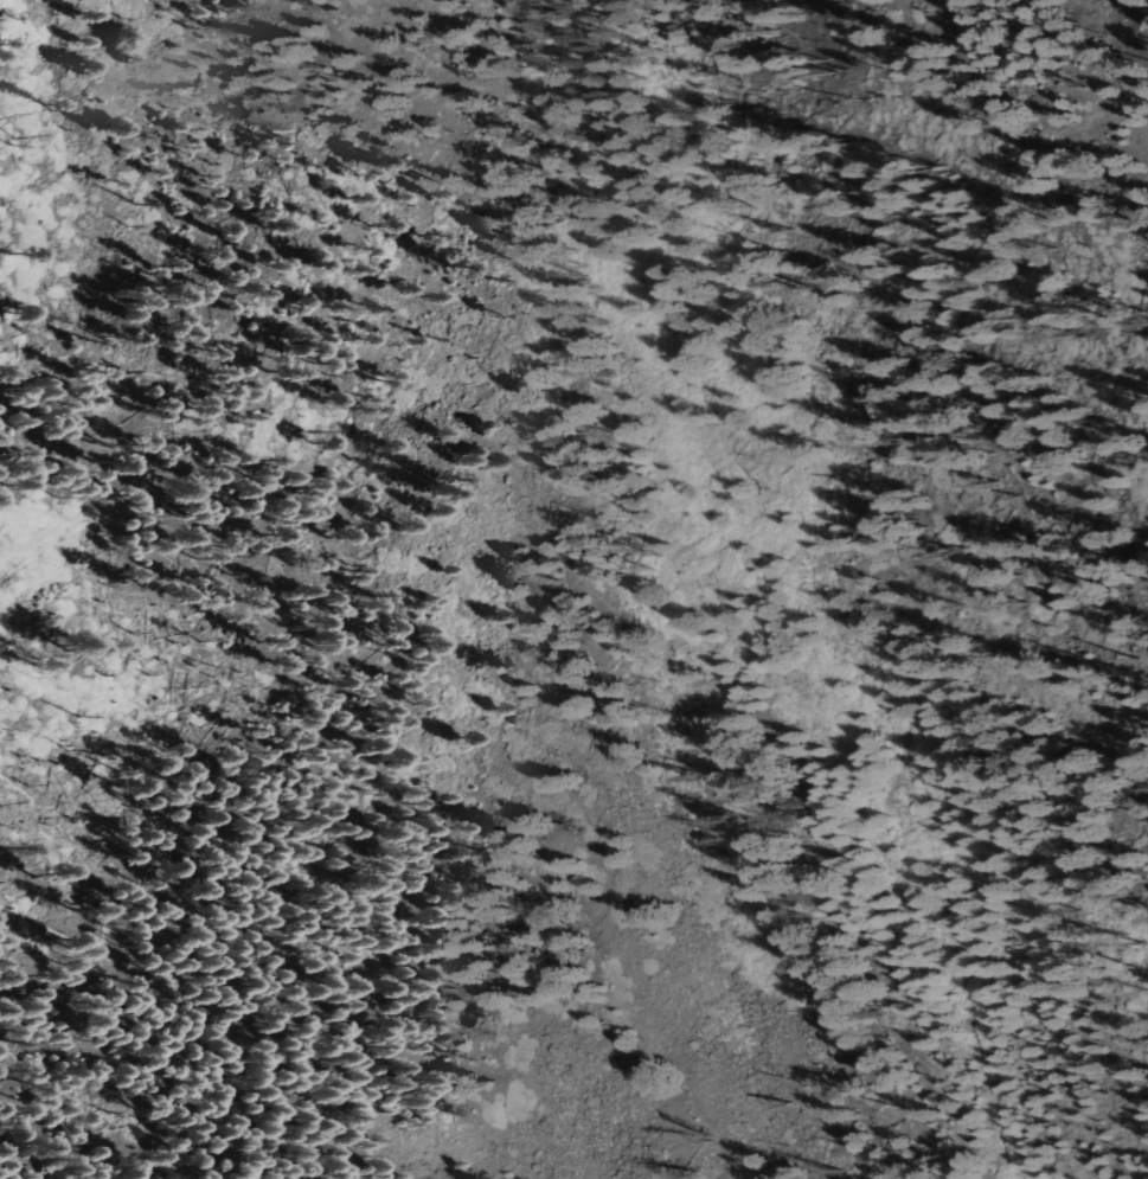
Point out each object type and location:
road: (586, 43)

